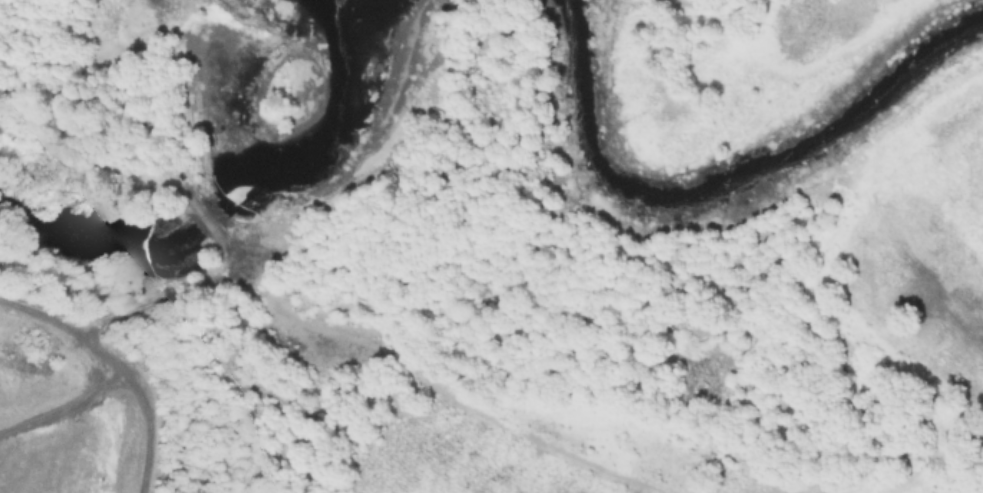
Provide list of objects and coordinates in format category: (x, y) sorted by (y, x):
road: (210, 281)
road: (62, 322)
road: (445, 392)
road: (61, 408)
road: (147, 423)

